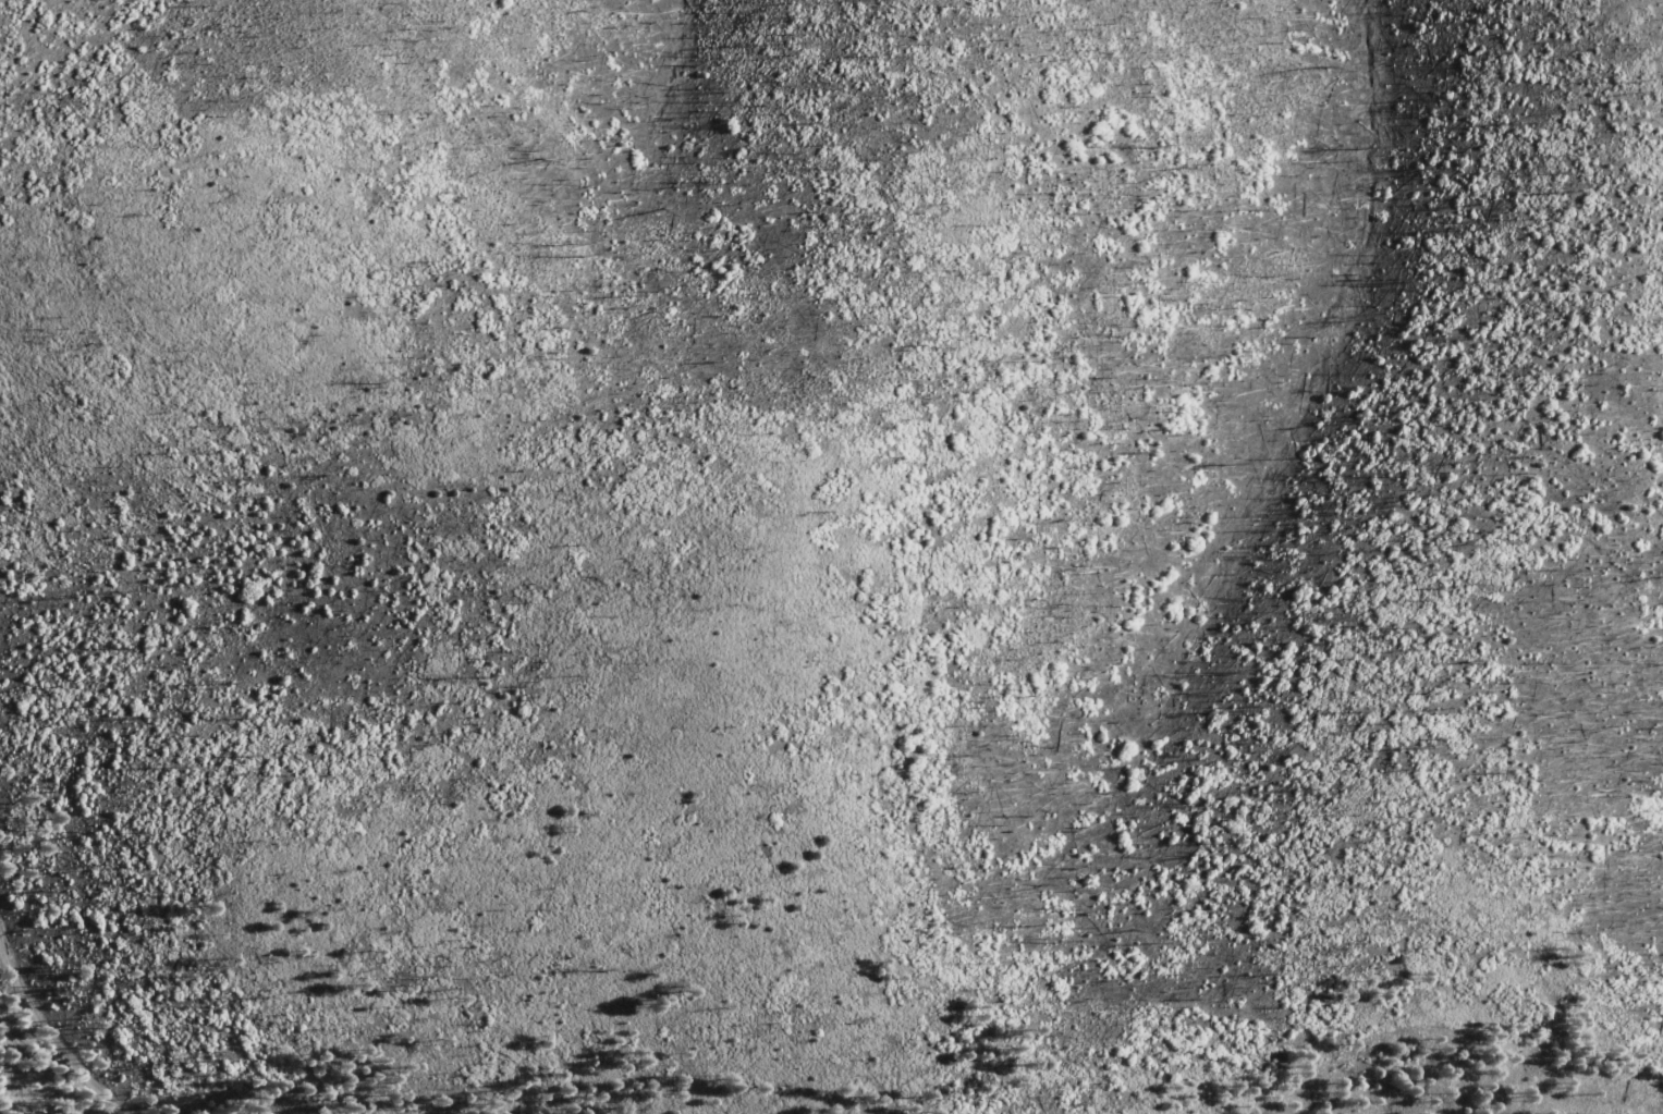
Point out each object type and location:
road: (50, 1033)

